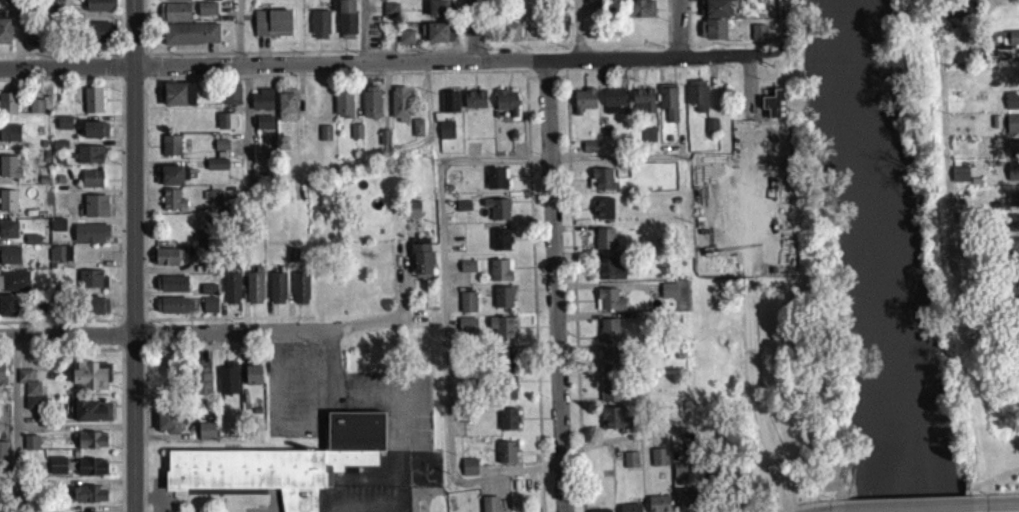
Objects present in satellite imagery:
building: (434, 0)
building: (639, 0)
building: (176, 3)
building: (211, 3)
building: (100, 9)
building: (206, 15)
building: (439, 15)
building: (640, 15)
building: (714, 15)
building: (175, 19)
building: (346, 23)
road: (679, 28)
building: (272, 29)
road: (475, 30)
road: (578, 30)
building: (319, 31)
road: (365, 31)
road: (239, 32)
building: (712, 36)
building: (5, 37)
building: (98, 37)
building: (439, 39)
building: (511, 39)
building: (757, 39)
road: (786, 39)
building: (190, 40)
building: (32, 42)
building: (405, 43)
building: (1013, 45)
building: (1000, 47)
road: (649, 57)
road: (272, 63)
building: (178, 100)
building: (231, 101)
building: (696, 101)
building: (474, 105)
building: (261, 106)
building: (642, 106)
building: (92, 107)
building: (583, 107)
building: (613, 107)
building: (1012, 107)
building: (371, 108)
building: (449, 108)
building: (506, 108)
building: (7, 109)
building: (668, 109)
building: (399, 110)
building: (286, 111)
building: (343, 111)
building: (774, 111)
building: (36, 112)
road: (248, 124)
building: (225, 128)
building: (64, 129)
building: (264, 129)
building: (1012, 130)
building: (711, 131)
building: (417, 134)
building: (95, 136)
building: (445, 136)
building: (356, 138)
building: (9, 139)
building: (324, 139)
building: (648, 141)
building: (384, 143)
building: (1013, 145)
building: (220, 151)
building: (171, 152)
building: (590, 153)
building: (89, 161)
building: (1014, 169)
building: (216, 171)
building: (9, 173)
building: (1012, 179)
building: (959, 181)
building: (93, 185)
building: (496, 185)
building: (602, 186)
building: (1014, 197)
building: (211, 201)
building: (1013, 206)
building: (8, 207)
building: (172, 207)
building: (95, 212)
building: (411, 215)
building: (497, 215)
building: (602, 215)
building: (1014, 220)
building: (1012, 229)
building: (8, 236)
building: (91, 239)
building: (1014, 242)
building: (203, 243)
building: (604, 245)
building: (500, 246)
building: (1012, 250)
road: (136, 256)
river: (884, 256)
building: (292, 260)
building: (9, 262)
building: (165, 263)
building: (421, 264)
building: (467, 273)
building: (608, 276)
building: (500, 277)
building: (91, 285)
road: (555, 285)
building: (14, 287)
building: (171, 290)
building: (254, 293)
building: (277, 294)
building: (300, 294)
building: (231, 295)
building: (208, 296)
building: (668, 297)
building: (502, 304)
building: (608, 306)
building: (467, 308)
building: (209, 311)
building: (8, 312)
building: (96, 312)
building: (171, 312)
road: (395, 313)
road: (446, 322)
building: (467, 330)
building: (501, 333)
road: (166, 334)
building: (608, 336)
building: (609, 367)
building: (2, 381)
building: (91, 381)
building: (253, 381)
building: (202, 385)
building: (227, 385)
building: (29, 395)
building: (507, 395)
building: (611, 398)
road: (16, 412)
building: (90, 418)
building: (611, 424)
building: (507, 425)
building: (168, 428)
building: (206, 438)
building: (92, 447)
building: (30, 449)
building: (3, 457)
building: (506, 459)
building: (288, 460)
building: (658, 463)
building: (630, 466)
building: (57, 472)
building: (91, 473)
building: (468, 473)
building: (679, 477)
road: (17, 491)
parking lot: (370, 498)
building: (89, 500)
road: (1003, 500)
building: (686, 503)
road: (909, 504)
road: (360, 505)
building: (489, 507)
building: (658, 507)
road: (823, 510)
building: (630, 511)

